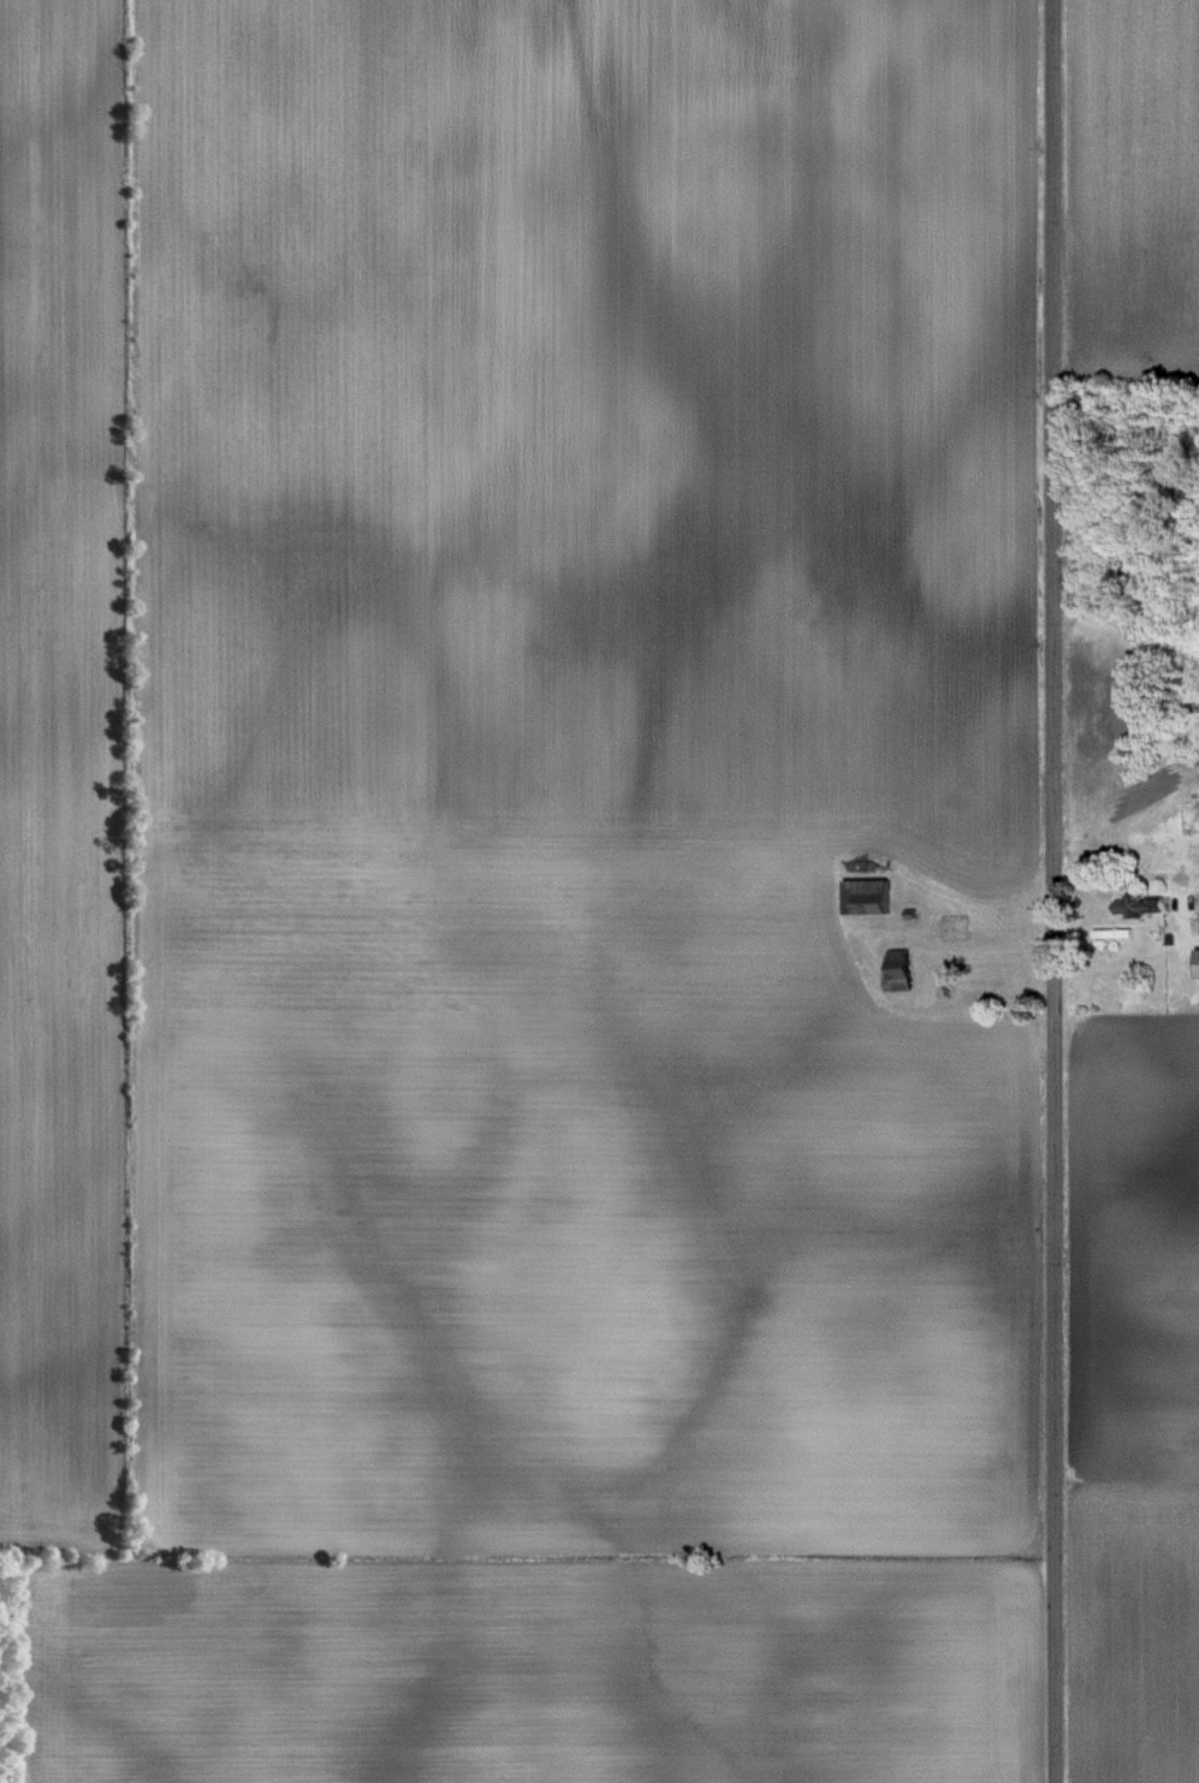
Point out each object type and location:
road: (1050, 891)
building: (863, 895)
building: (1194, 962)

